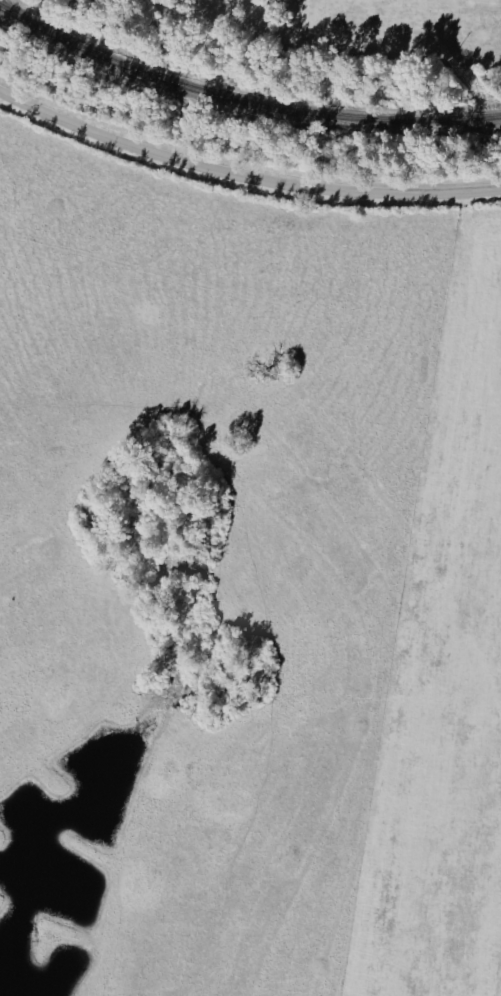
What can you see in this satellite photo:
railway: (241, 102)
road: (243, 175)

